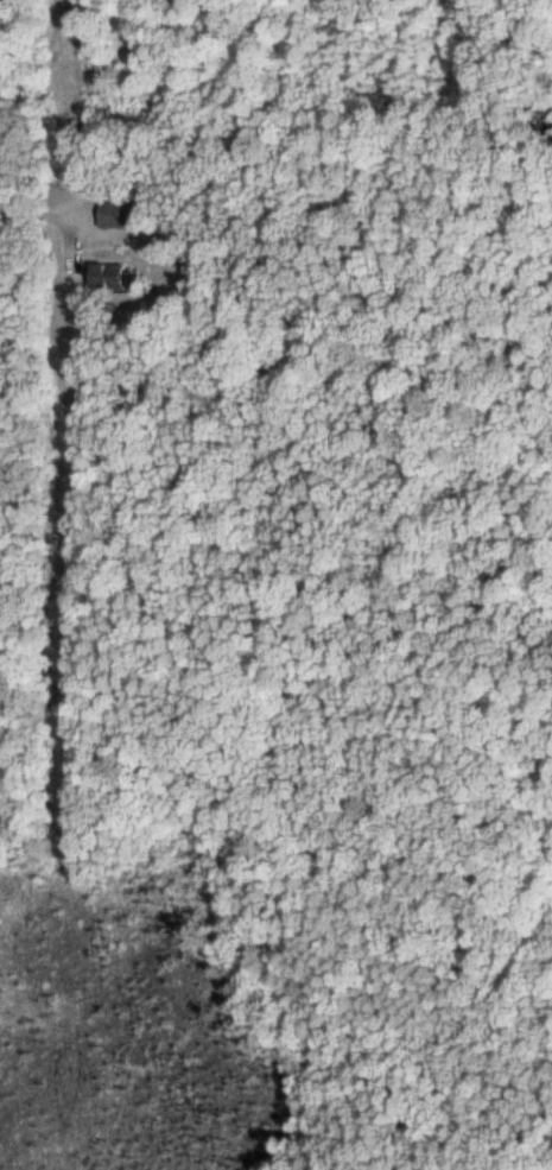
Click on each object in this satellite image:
building: (113, 214)
building: (103, 274)

